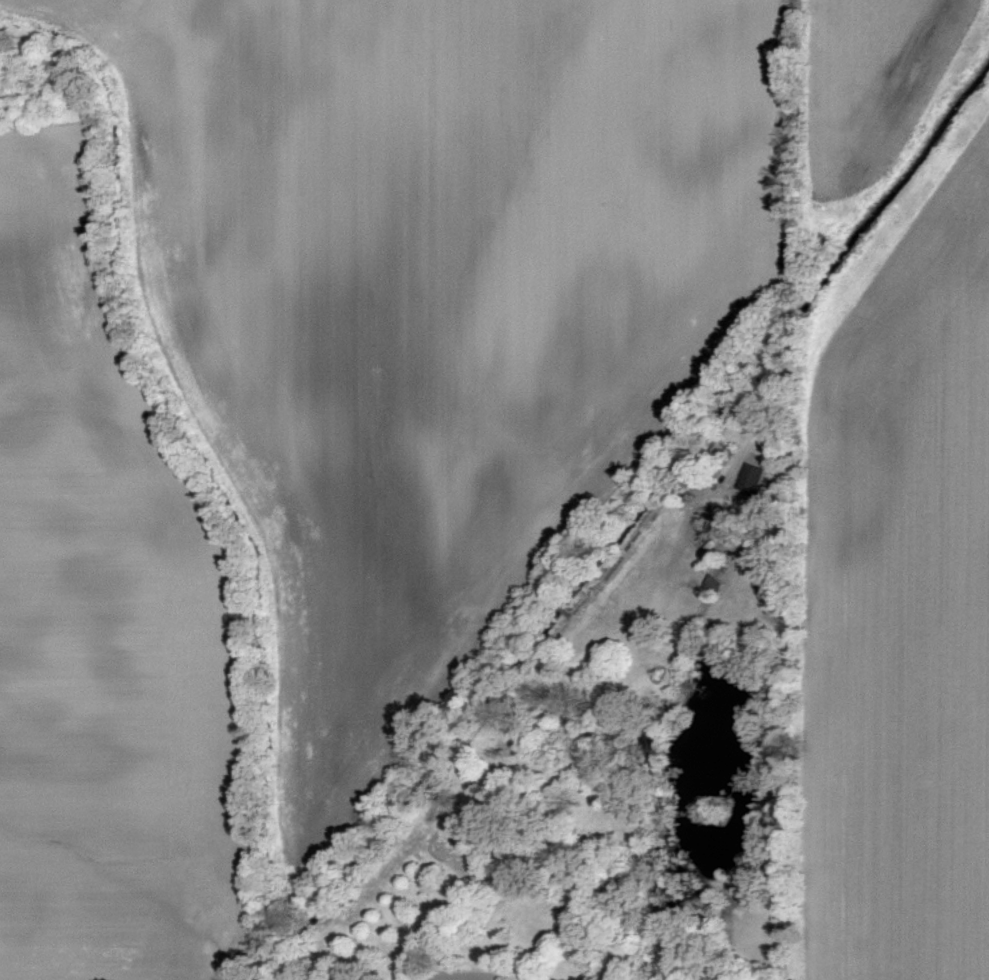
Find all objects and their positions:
building: (754, 478)

